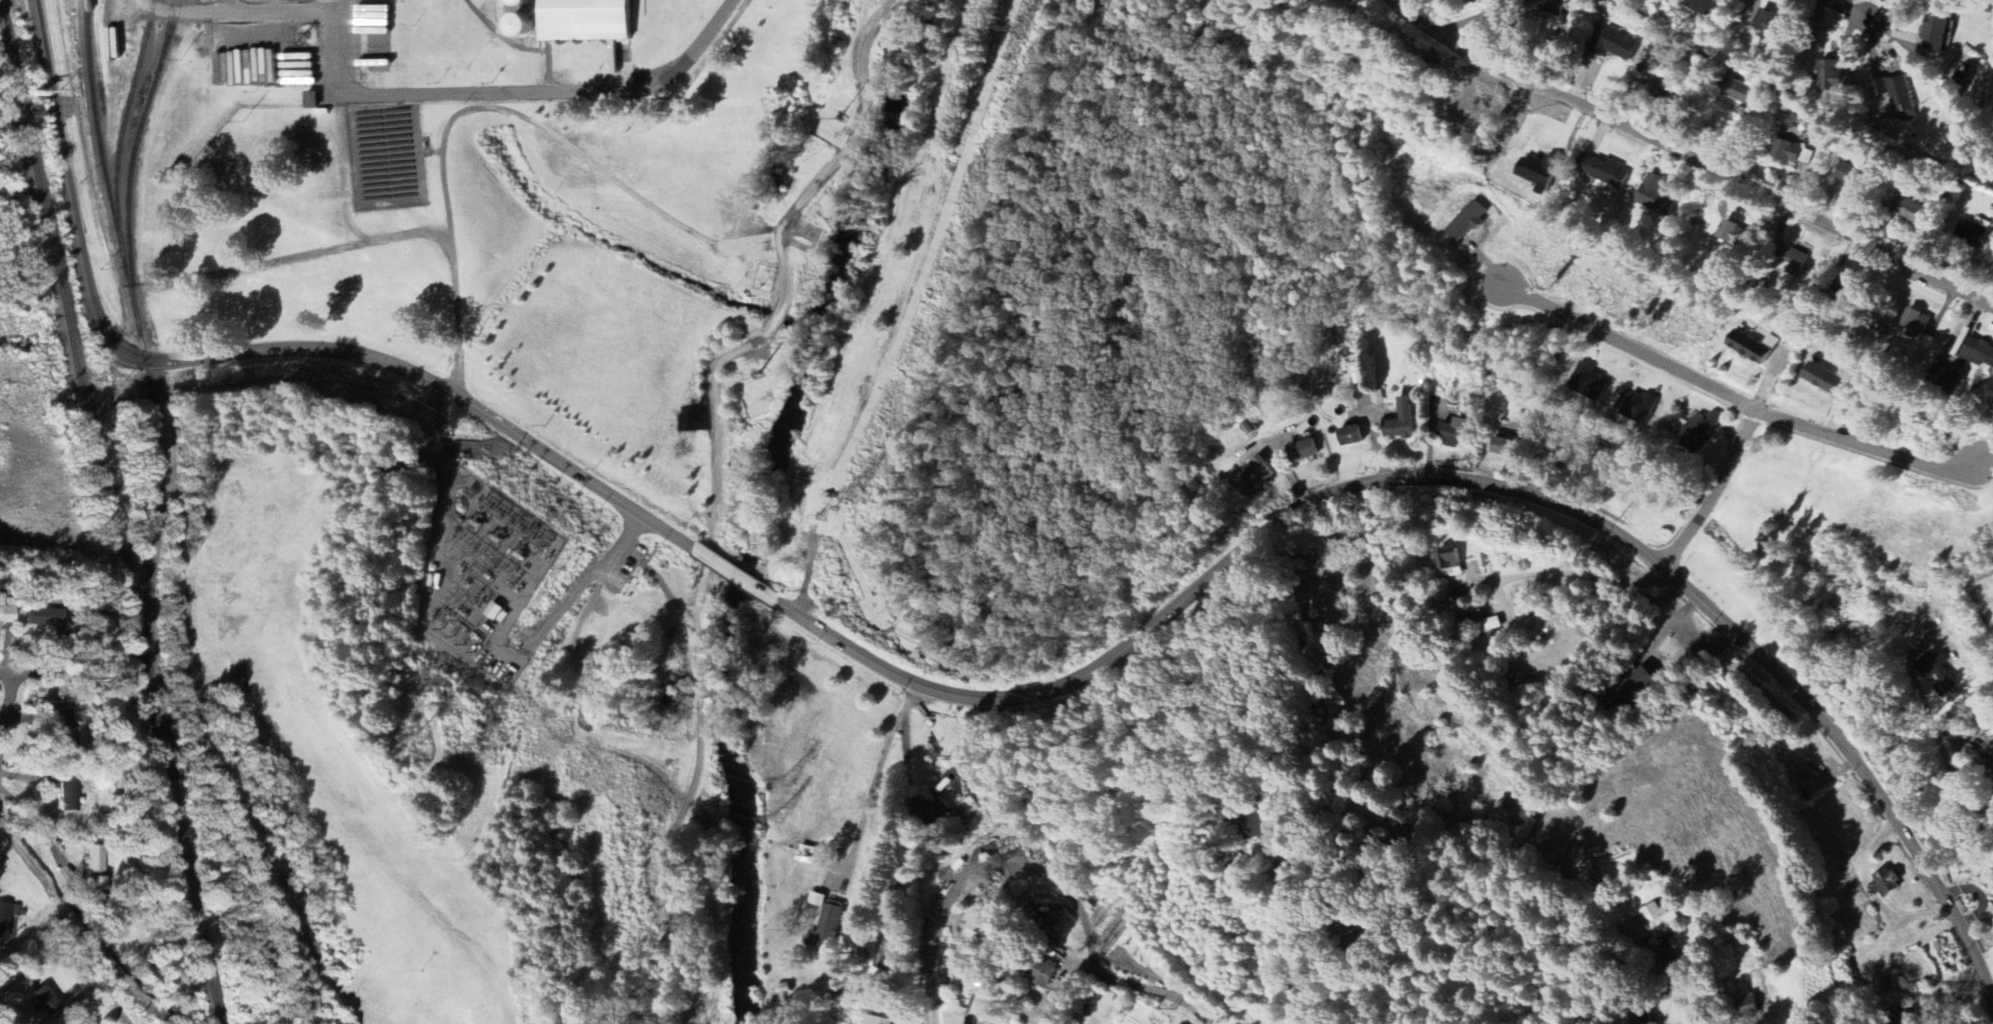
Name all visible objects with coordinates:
building: (526, 4)
building: (1551, 6)
building: (1702, 6)
road: (1864, 19)
building: (588, 21)
building: (1771, 26)
building: (523, 27)
building: (1943, 34)
railway: (167, 37)
building: (1841, 80)
road: (508, 91)
building: (1743, 94)
building: (1904, 97)
building: (312, 101)
railway: (121, 131)
building: (1795, 154)
road: (1689, 160)
railway: (130, 164)
building: (1603, 172)
building: (1542, 174)
building: (1856, 178)
building: (1656, 197)
building: (1920, 214)
building: (1468, 222)
building: (1980, 233)
building: (1734, 236)
building: (1794, 259)
park: (792, 272)
road: (784, 301)
building: (1919, 324)
road: (1629, 346)
building: (1753, 348)
road: (249, 353)
building: (1979, 353)
railway: (147, 373)
building: (1826, 382)
building: (1589, 384)
building: (1637, 408)
building: (1403, 423)
building: (1700, 432)
building: (1455, 435)
building: (1353, 437)
road: (1862, 443)
building: (1506, 449)
building: (1305, 452)
building: (1259, 473)
railway: (98, 477)
road: (1461, 482)
road: (1714, 491)
power tower: (849, 496)
road: (626, 542)
parking lot: (628, 551)
building: (1452, 561)
power substation: (482, 571)
road: (736, 575)
road: (1570, 575)
road: (664, 594)
building: (6, 612)
building: (495, 612)
building: (45, 615)
building: (1481, 624)
road: (39, 673)
building: (1934, 673)
building: (1637, 687)
power tower: (454, 706)
road: (8, 712)
park: (677, 730)
power tower: (424, 737)
road: (1924, 742)
building: (1801, 765)
building: (1987, 769)
road: (859, 774)
power tower: (790, 781)
building: (68, 795)
building: (963, 810)
building: (935, 812)
road: (680, 816)
power tower: (781, 818)
road: (45, 840)
building: (94, 867)
building: (1884, 882)
road: (1345, 907)
building: (4, 922)
building: (980, 922)
building: (826, 924)
building: (1651, 925)
road: (938, 926)
building: (888, 956)
railway: (208, 971)
building: (1045, 973)
building: (971, 985)
road: (1144, 989)
building: (45, 1002)
road: (1686, 1003)
building: (980, 1005)
building: (1748, 1007)
road: (6, 1014)
building: (877, 1021)

